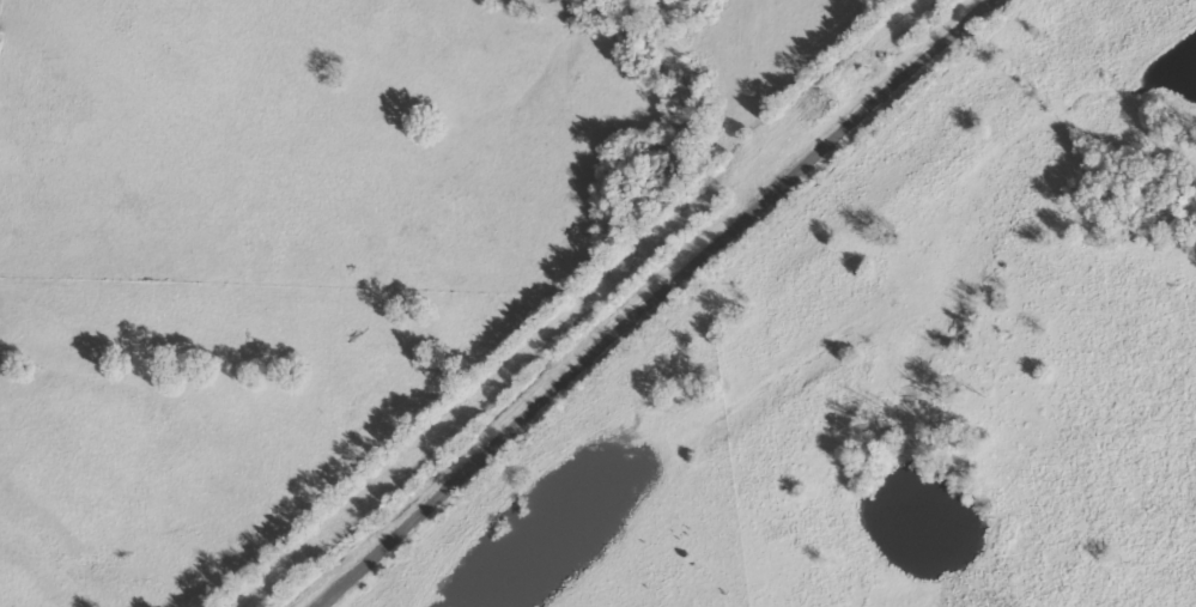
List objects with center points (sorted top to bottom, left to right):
road: (670, 303)

